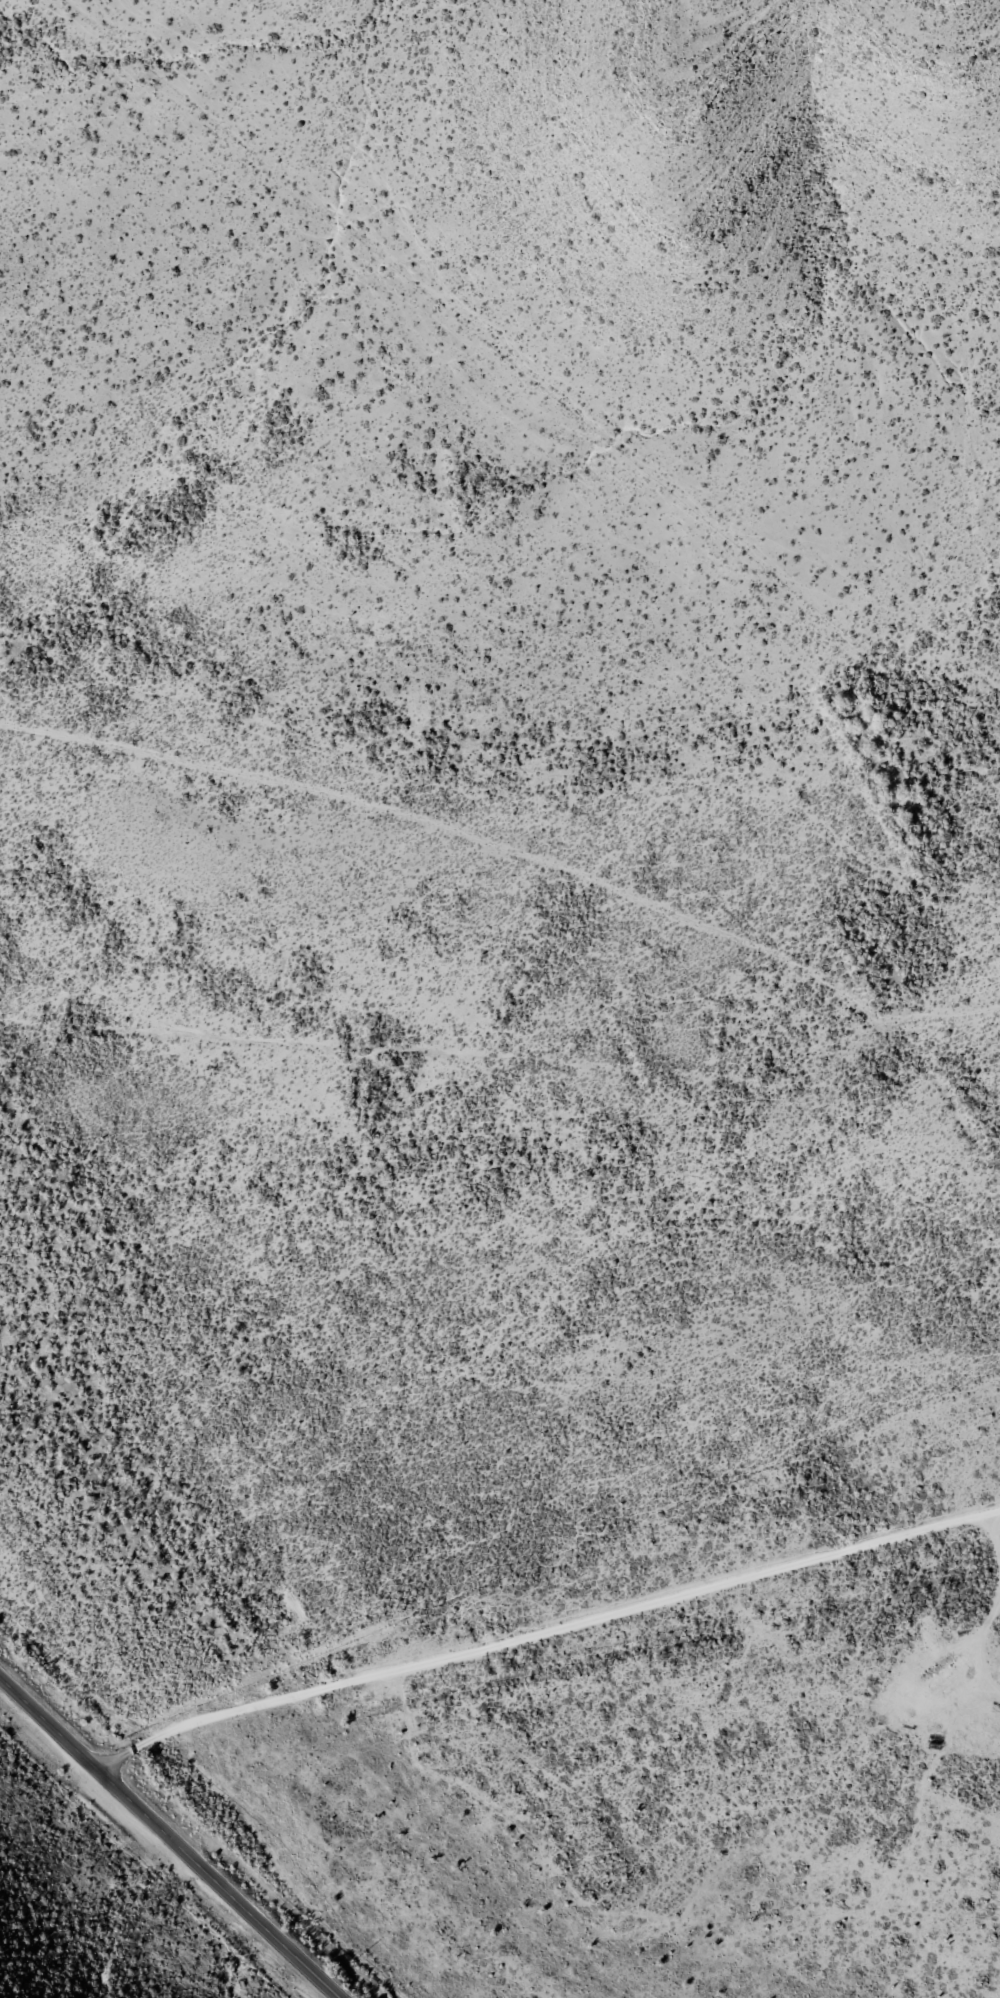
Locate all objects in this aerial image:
road: (538, 1627)
road: (172, 1836)

